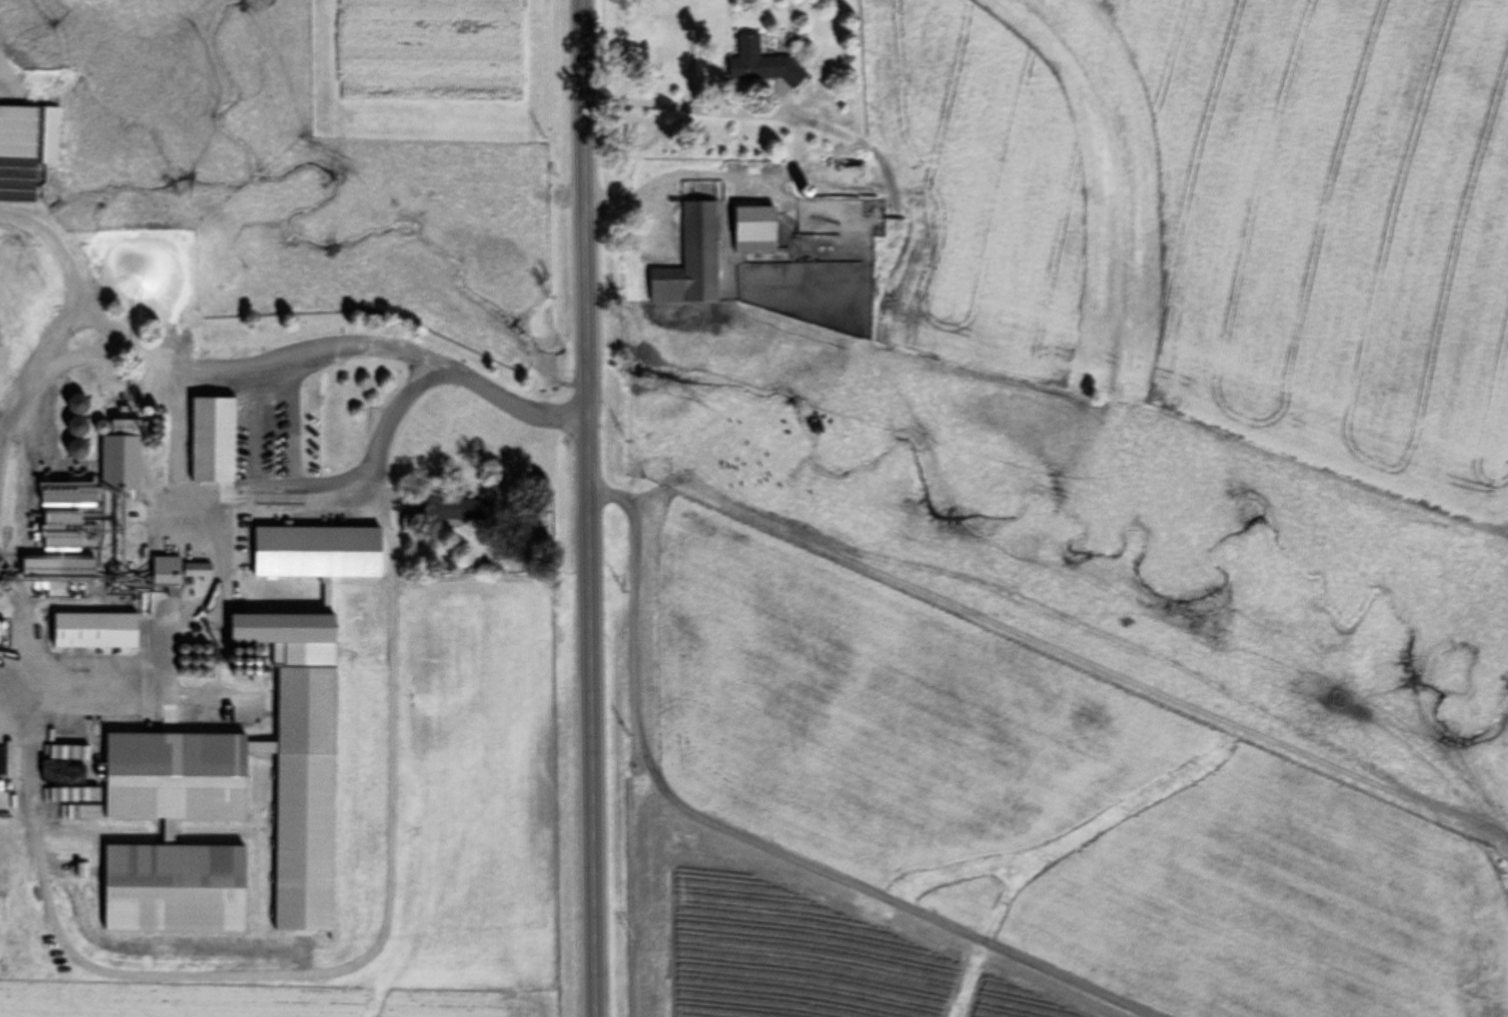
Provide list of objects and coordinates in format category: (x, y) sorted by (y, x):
building: (761, 64)
road: (688, 111)
building: (26, 149)
building: (754, 229)
building: (691, 260)
road: (261, 364)
building: (213, 440)
building: (122, 459)
road: (285, 506)
road: (584, 508)
building: (459, 509)
building: (61, 530)
building: (317, 552)
building: (166, 571)
building: (281, 628)
building: (95, 630)
building: (305, 711)
building: (177, 777)
building: (174, 889)

